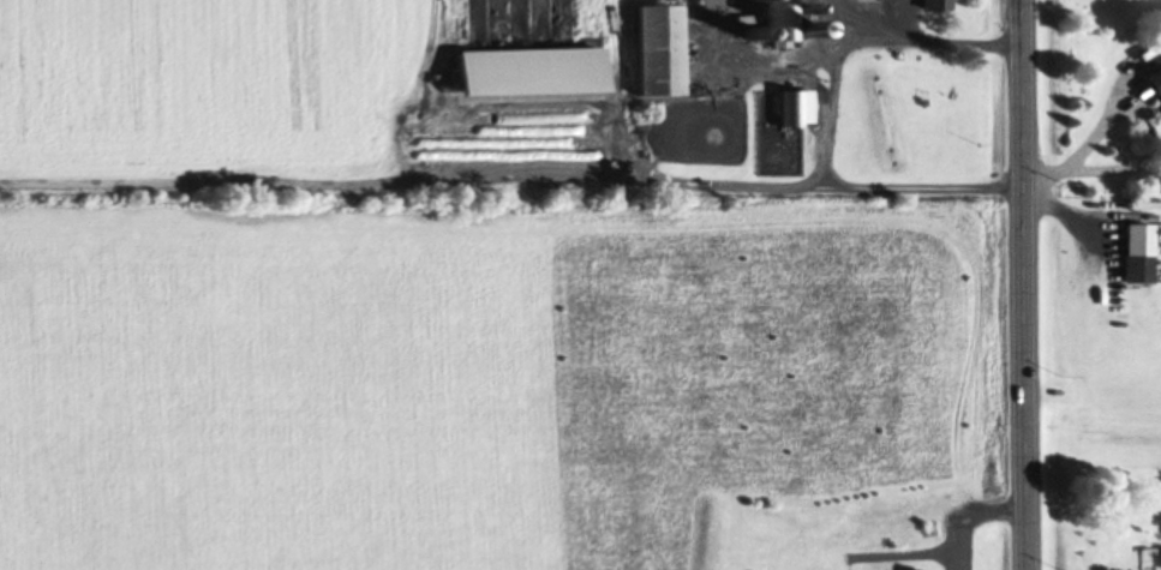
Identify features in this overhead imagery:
building: (705, 1)
building: (933, 4)
building: (777, 23)
building: (656, 48)
building: (1155, 78)
building: (794, 107)
building: (776, 163)
building: (1137, 251)
road: (1018, 284)
building: (911, 569)

